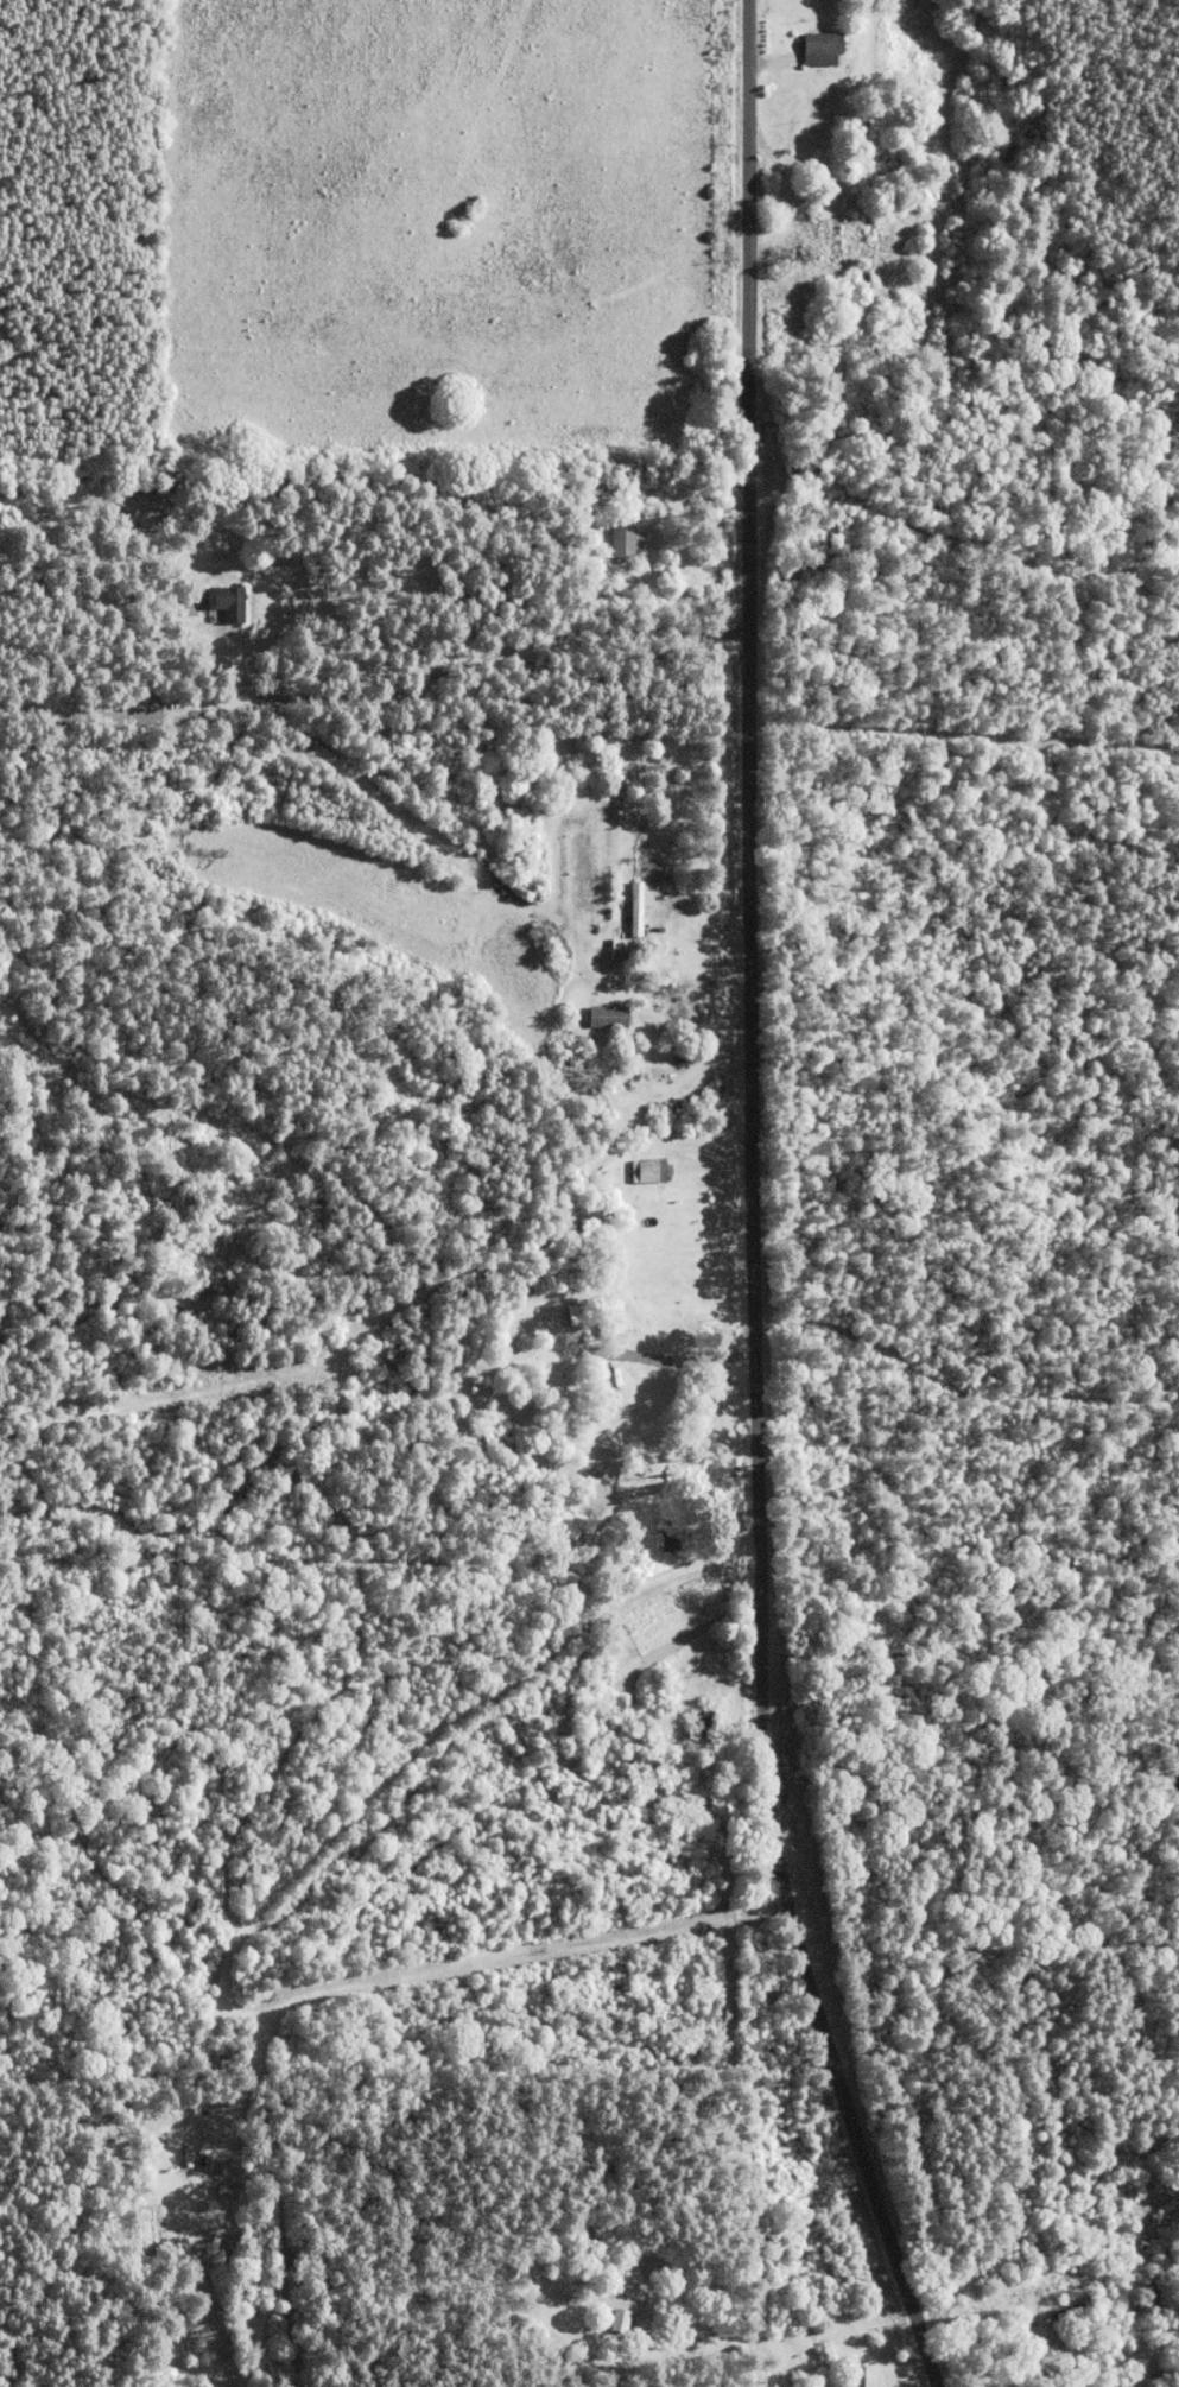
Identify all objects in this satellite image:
building: (812, 50)
building: (826, 230)
building: (633, 482)
building: (623, 543)
building: (235, 603)
building: (633, 908)
building: (602, 1018)
building: (649, 1171)
road: (748, 1208)
building: (559, 1302)
building: (640, 1362)
building: (691, 1721)
road: (355, 1831)
building: (609, 2322)
building: (1047, 2342)
building: (847, 2375)

